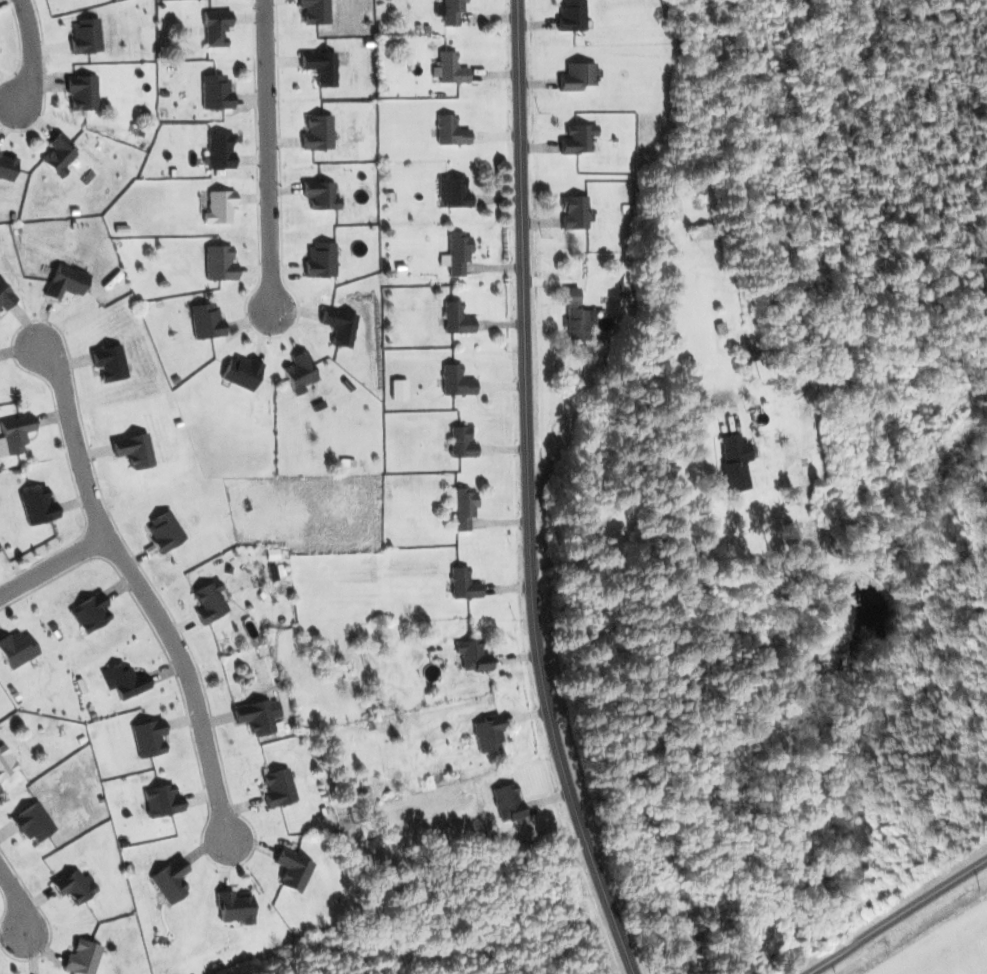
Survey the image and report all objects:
building: (315, 11)
building: (449, 11)
building: (571, 15)
building: (216, 27)
building: (85, 36)
road: (28, 51)
building: (320, 67)
building: (450, 68)
building: (577, 77)
building: (82, 92)
building: (216, 92)
building: (450, 131)
building: (318, 133)
building: (578, 139)
building: (0, 151)
building: (220, 151)
road: (276, 153)
building: (59, 155)
building: (7, 167)
building: (453, 192)
building: (320, 195)
building: (219, 207)
building: (574, 212)
building: (703, 232)
building: (458, 253)
building: (320, 260)
building: (219, 263)
building: (65, 281)
building: (5, 297)
building: (575, 315)
building: (456, 318)
building: (206, 321)
building: (339, 326)
building: (109, 362)
building: (241, 372)
building: (299, 372)
building: (456, 381)
building: (14, 434)
building: (461, 442)
building: (133, 450)
building: (735, 462)
road: (632, 484)
road: (529, 494)
building: (37, 506)
building: (464, 508)
building: (164, 531)
road: (57, 566)
building: (463, 584)
road: (150, 586)
building: (209, 602)
building: (90, 613)
building: (16, 649)
building: (472, 655)
building: (124, 680)
building: (258, 716)
building: (488, 734)
building: (148, 737)
building: (6, 762)
building: (278, 788)
building: (162, 800)
building: (507, 802)
building: (32, 822)
building: (293, 870)
road: (3, 878)
building: (170, 880)
building: (74, 886)
road: (17, 899)
building: (235, 907)
road: (894, 915)
building: (82, 958)

